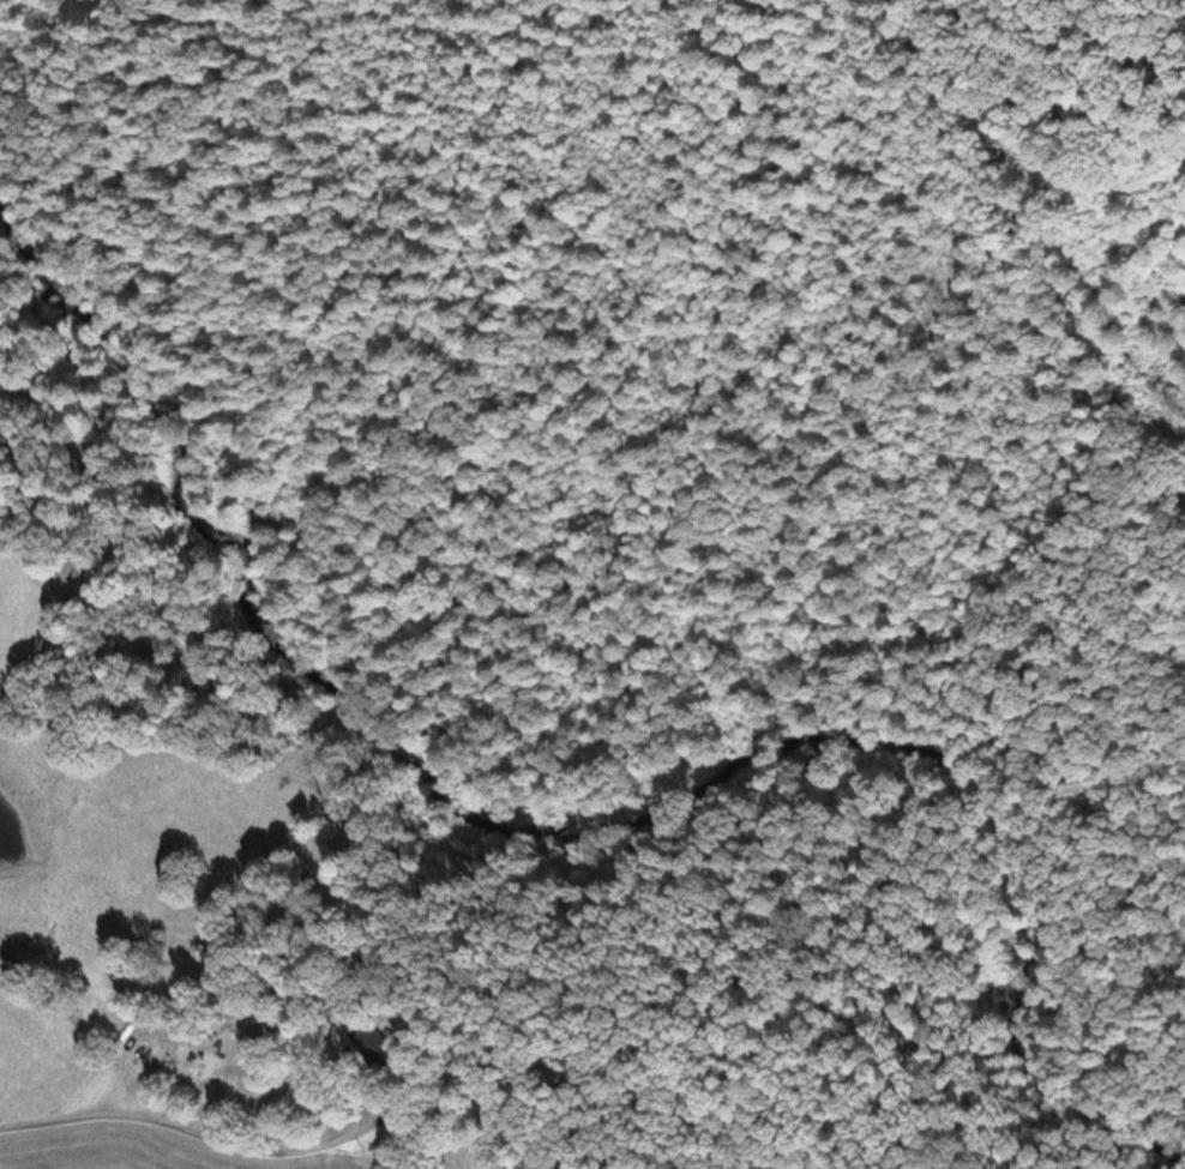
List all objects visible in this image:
building: (383, 1046)

